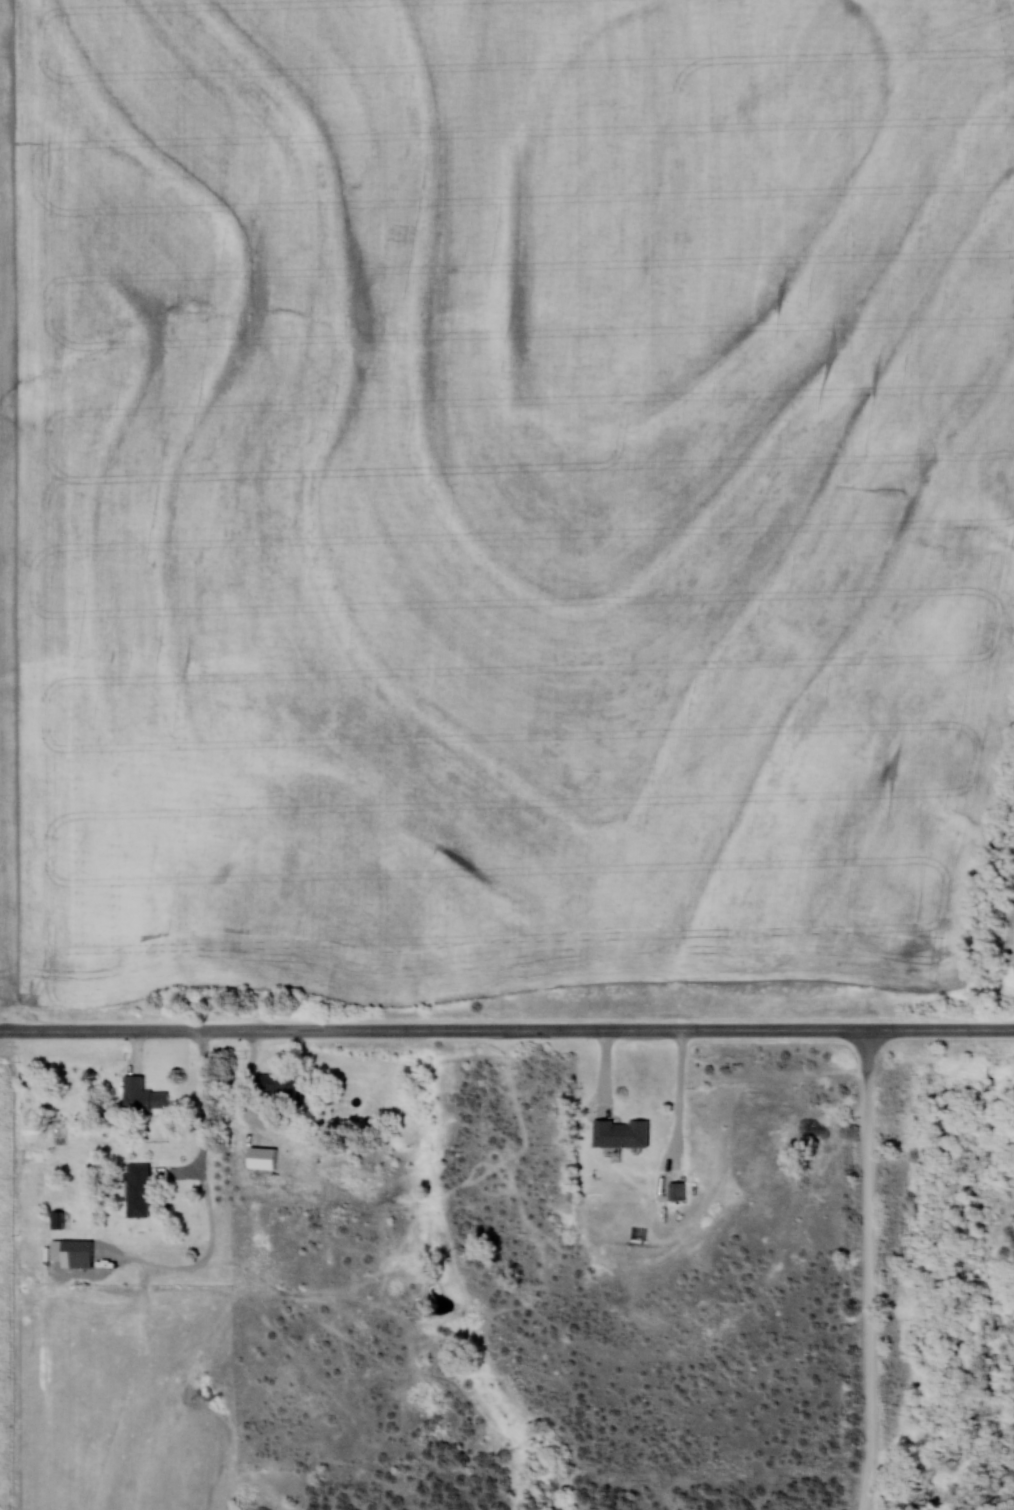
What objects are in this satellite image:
road: (931, 1030)
road: (424, 1032)
building: (285, 1083)
building: (145, 1095)
road: (684, 1099)
building: (626, 1132)
building: (142, 1189)
road: (214, 1191)
building: (58, 1220)
park: (931, 1248)
building: (78, 1255)
road: (872, 1270)

